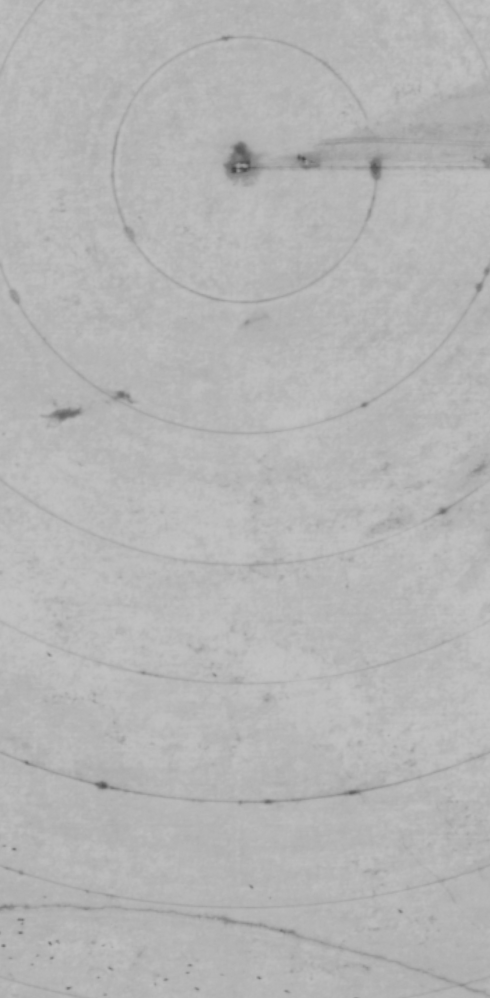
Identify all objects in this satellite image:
road: (368, 158)
crop: (245, 499)

